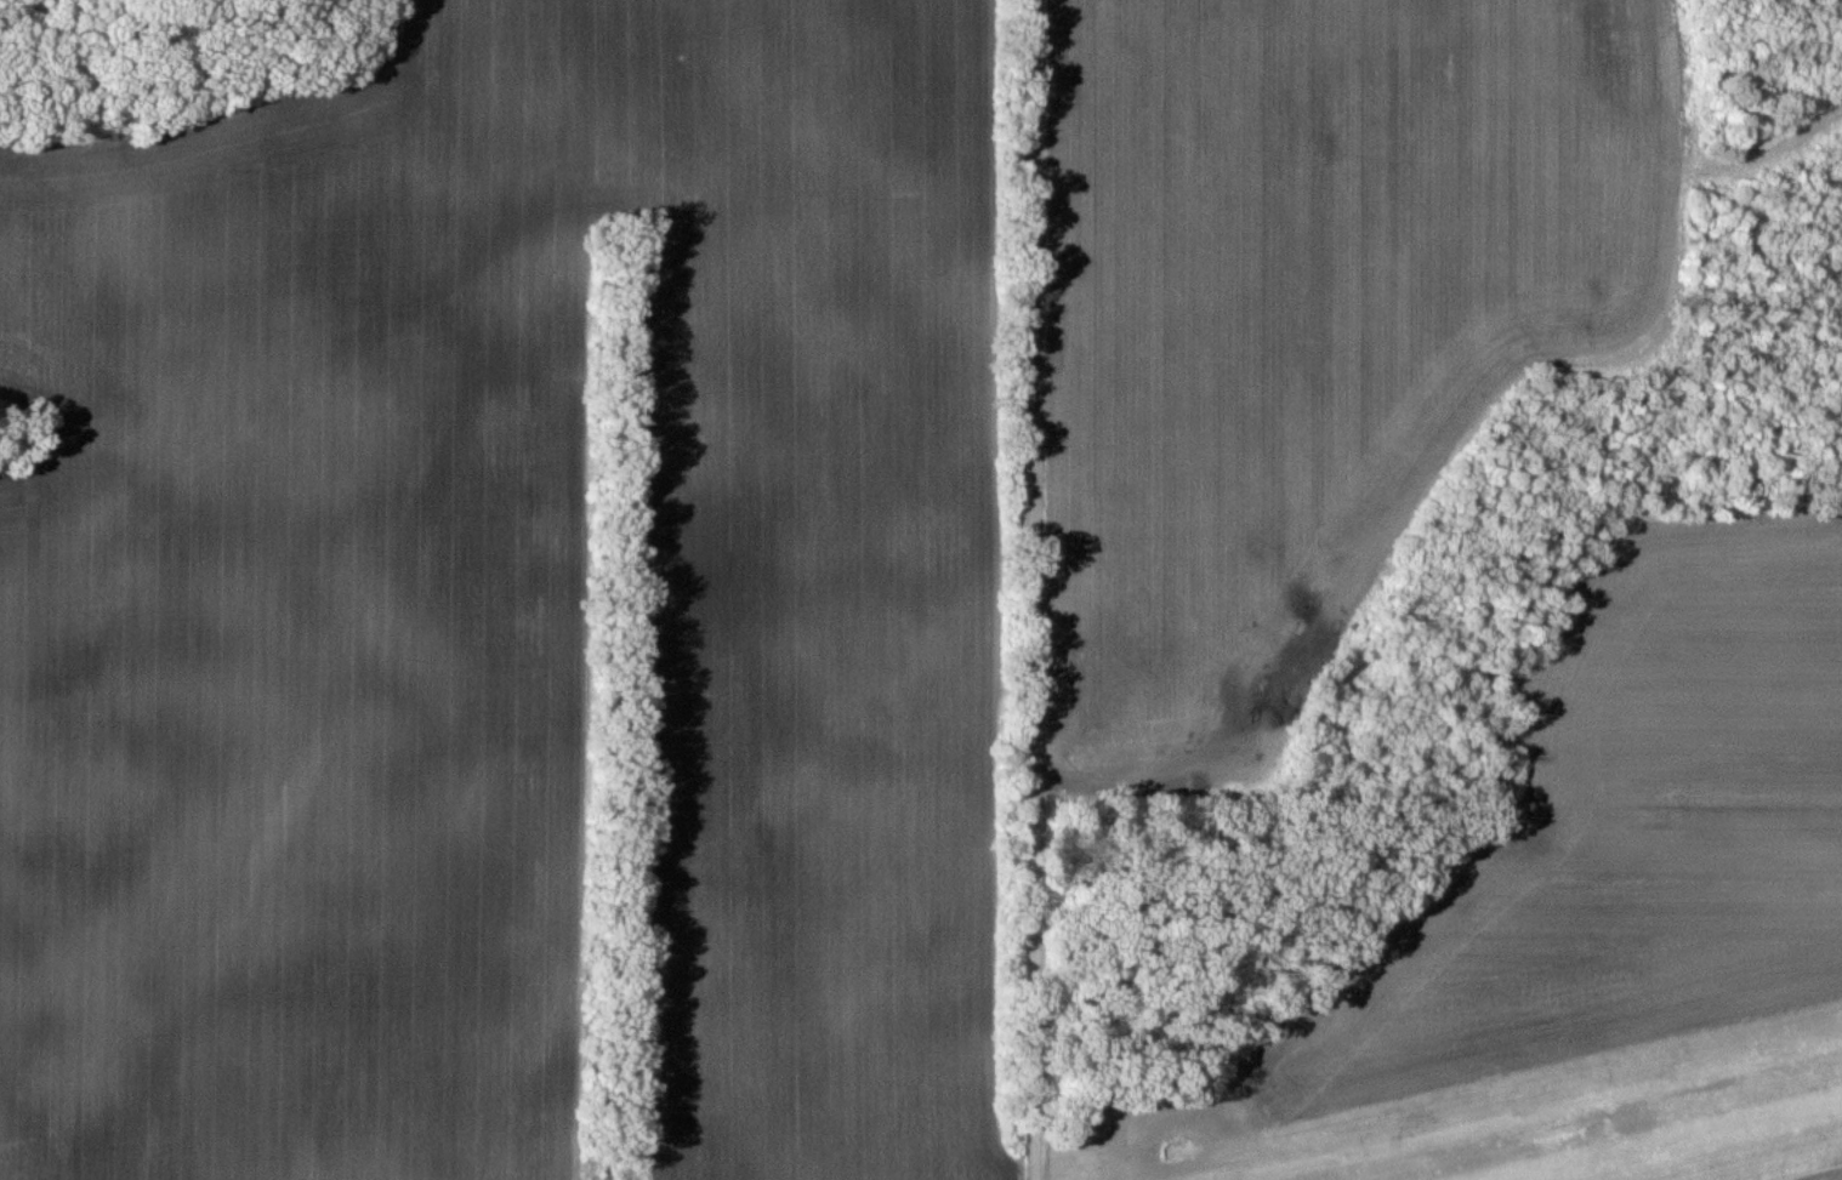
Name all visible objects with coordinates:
road: (1031, 589)
airport runway: (1620, 1128)

